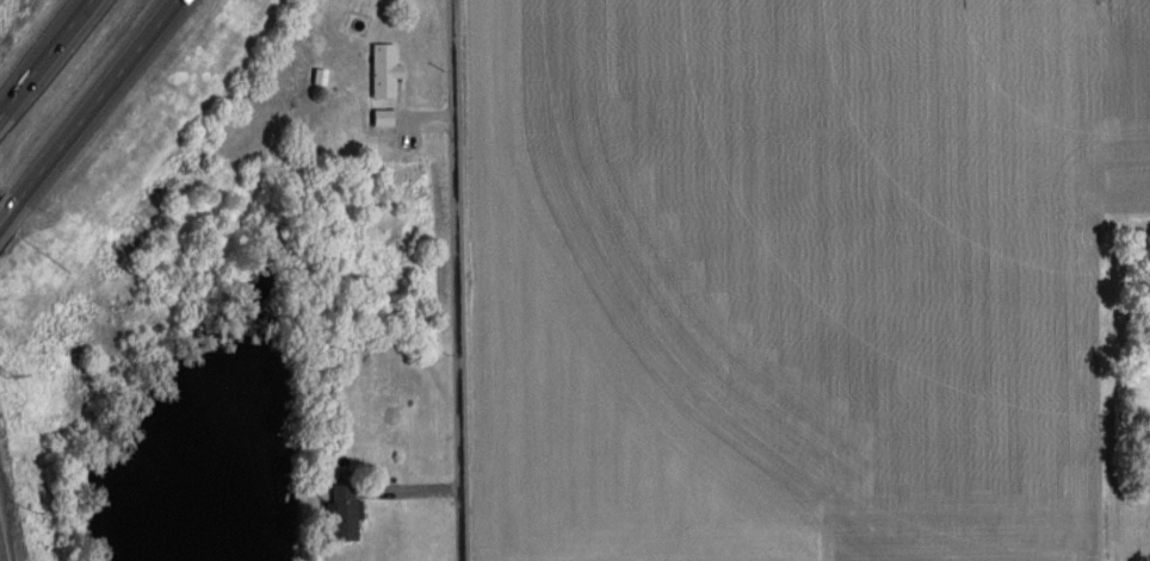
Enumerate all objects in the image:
road: (43, 56)
building: (383, 70)
road: (94, 100)
building: (382, 119)
road: (7, 208)
road: (459, 280)
building: (344, 521)
railway: (1, 554)

